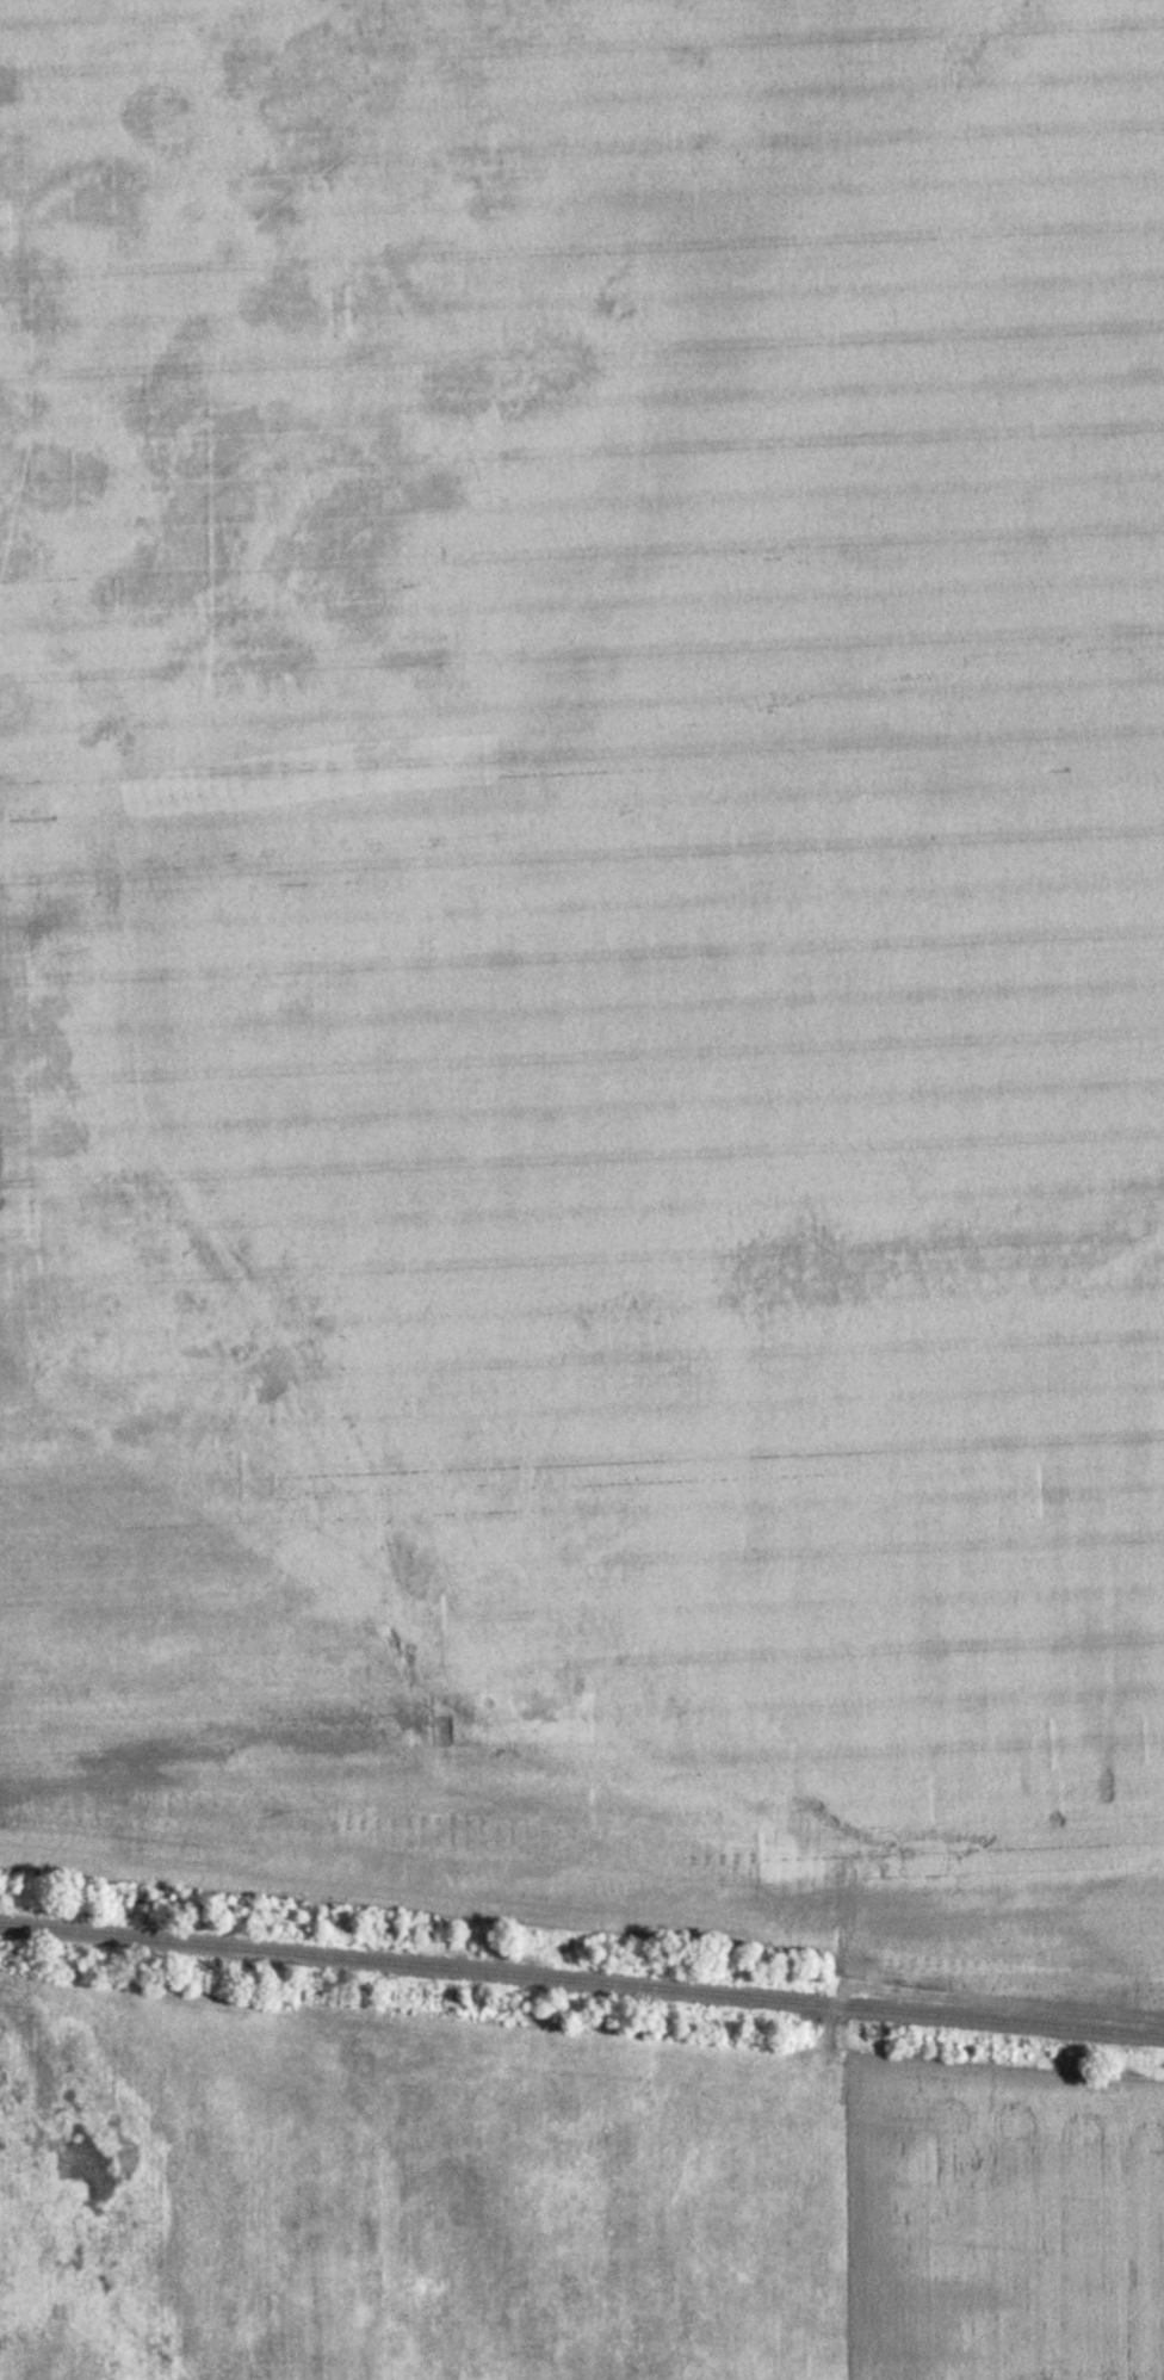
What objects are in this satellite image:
railway: (582, 1980)

